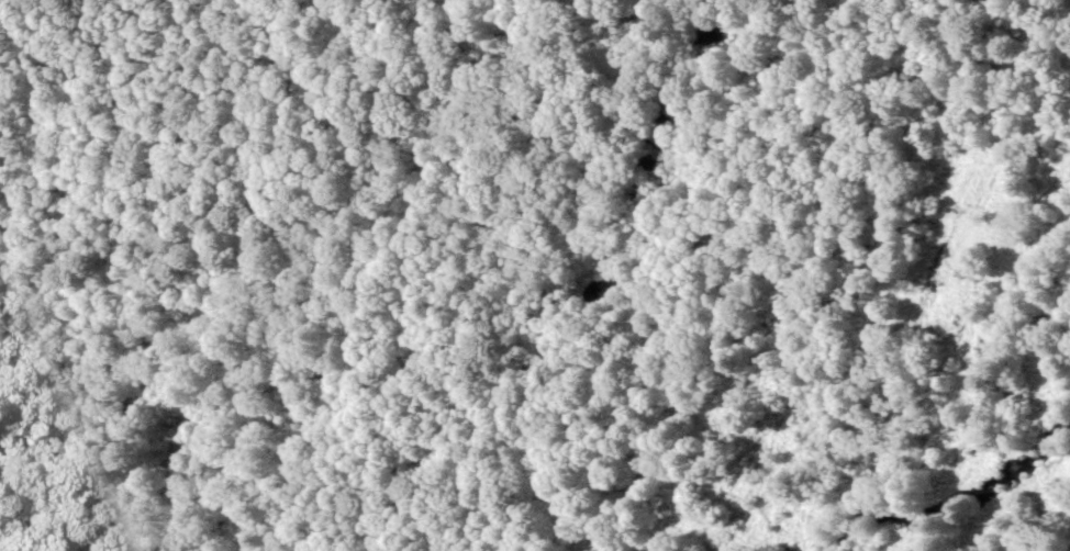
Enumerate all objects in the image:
river: (486, 126)
river: (250, 522)
river: (89, 548)

